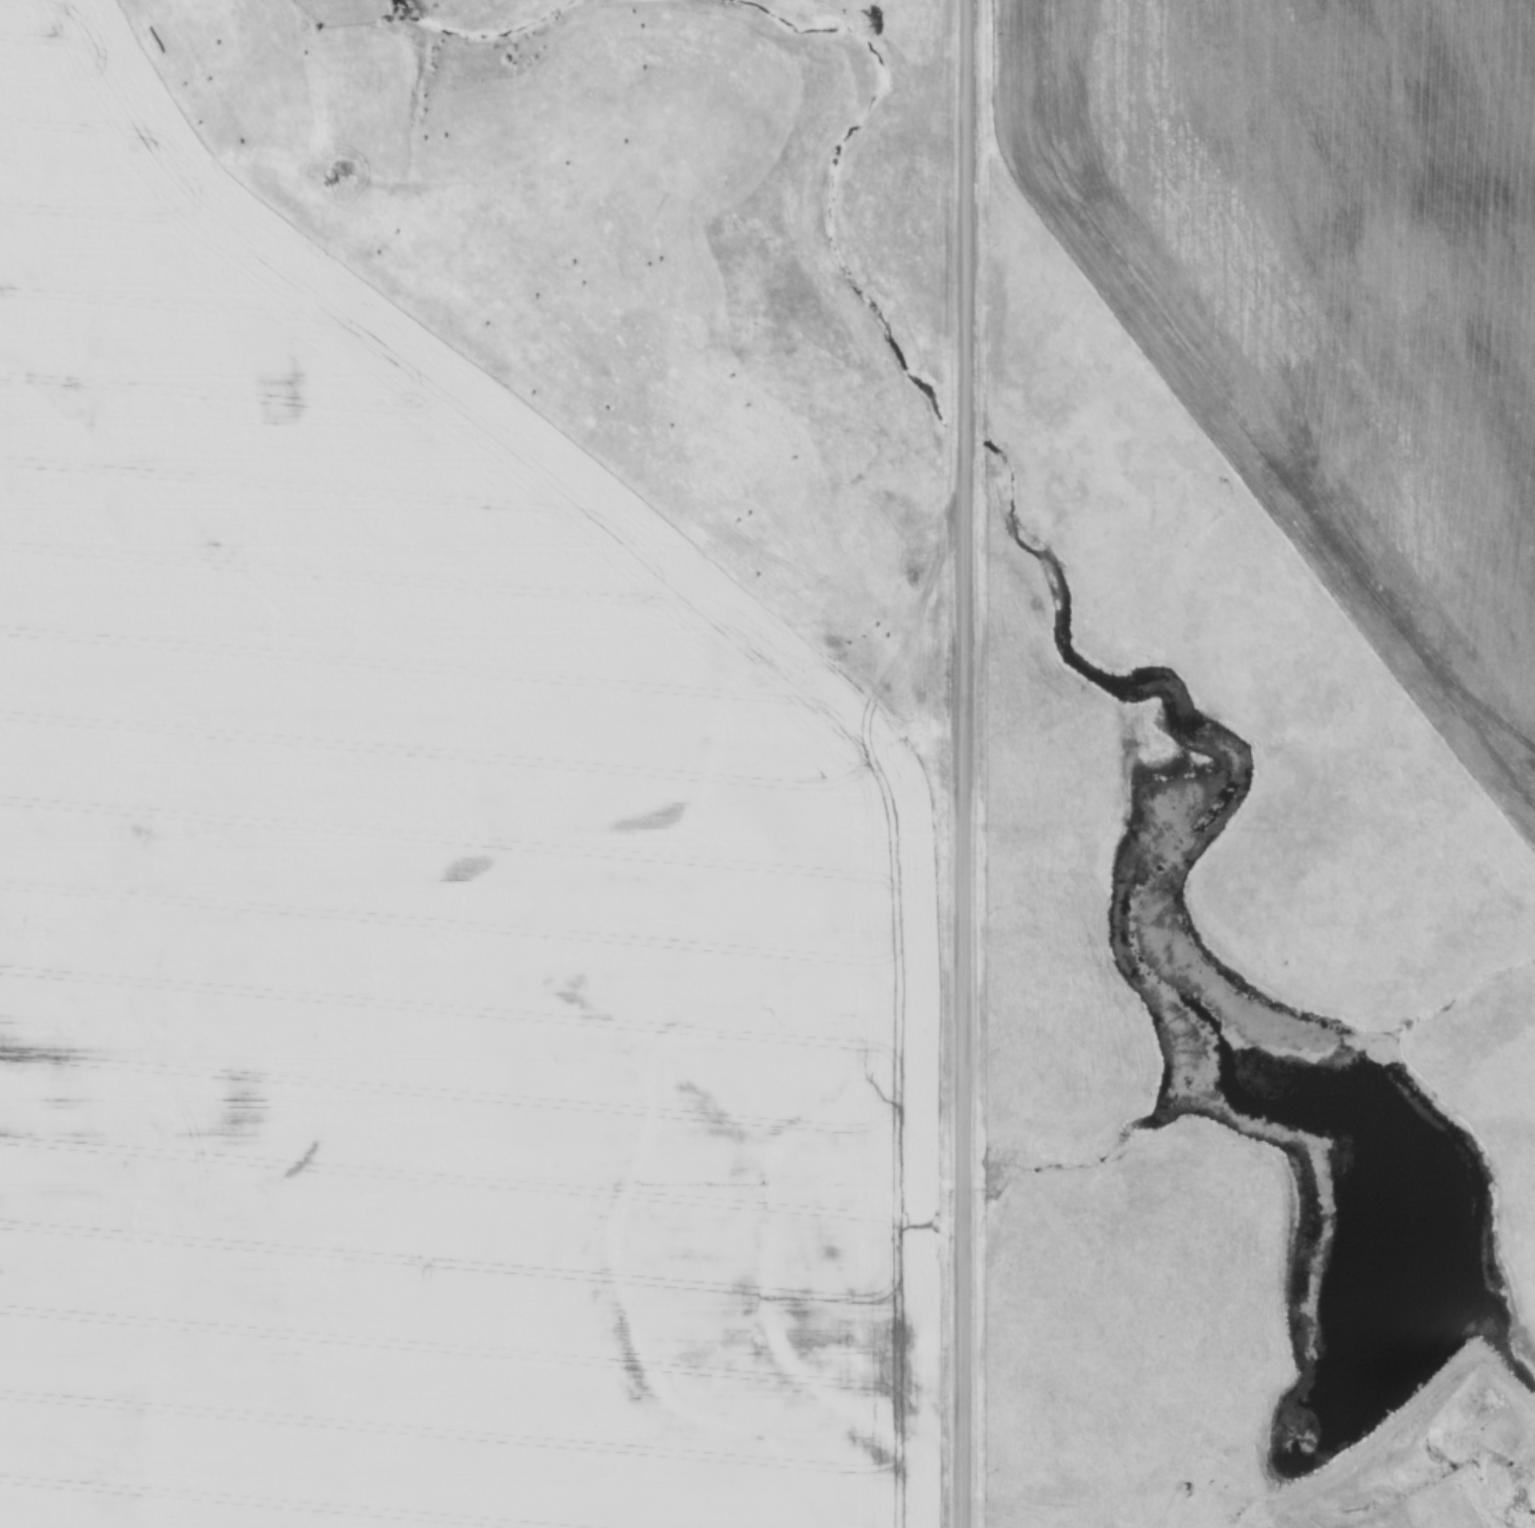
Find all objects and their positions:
road: (964, 763)

